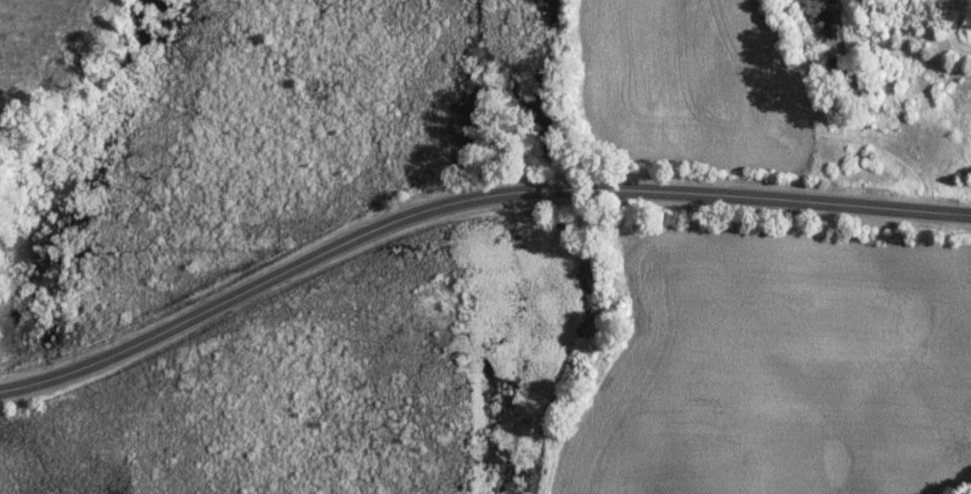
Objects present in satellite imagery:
crop: (696, 89)
road: (466, 204)
crop: (781, 375)

